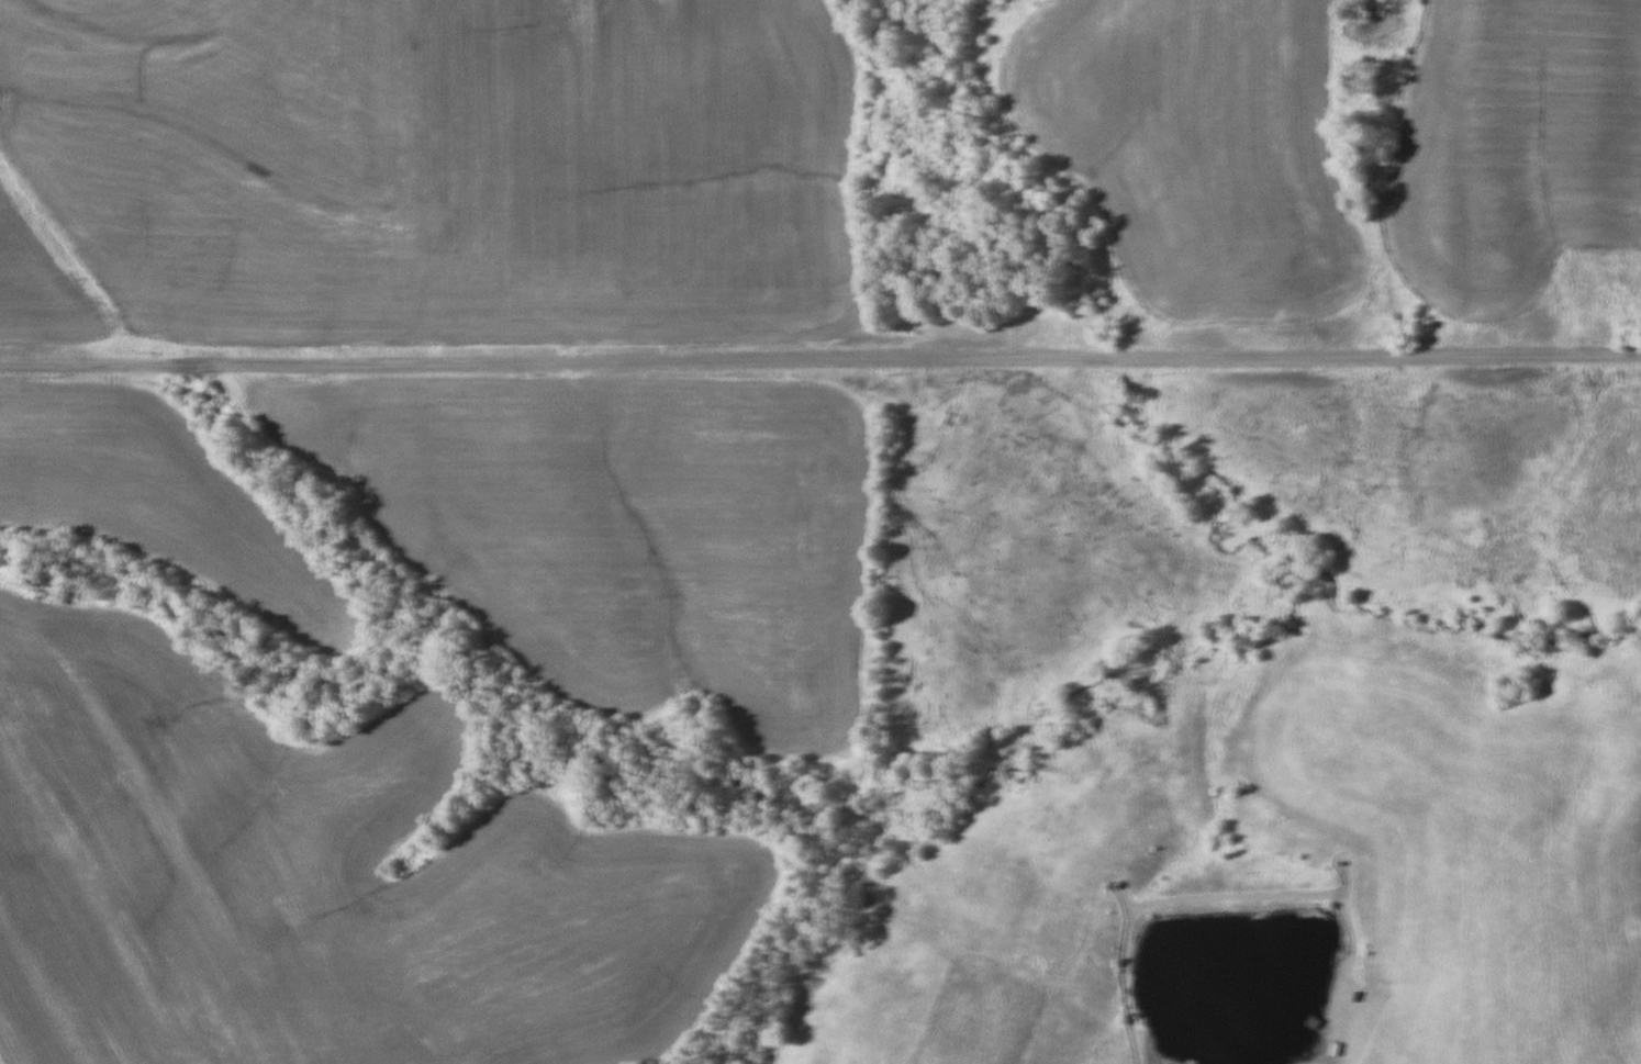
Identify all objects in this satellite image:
road: (819, 362)

